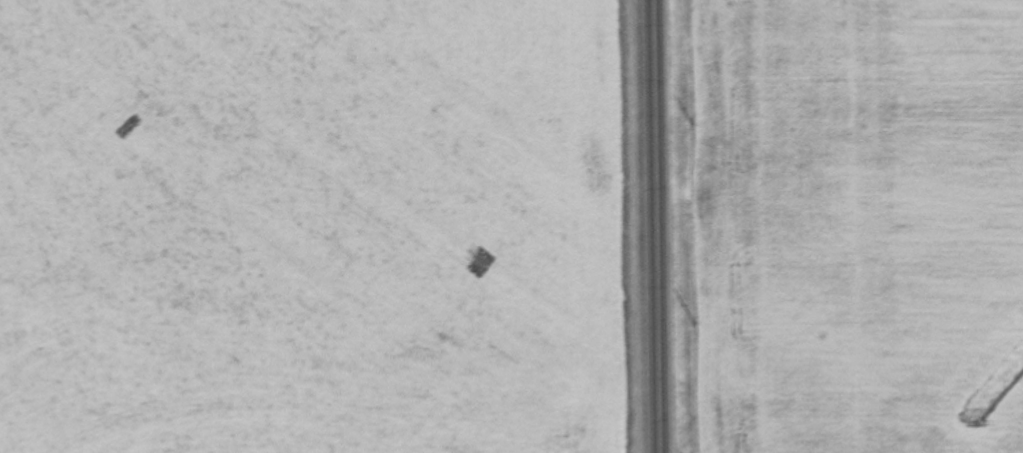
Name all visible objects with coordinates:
road: (658, 226)

